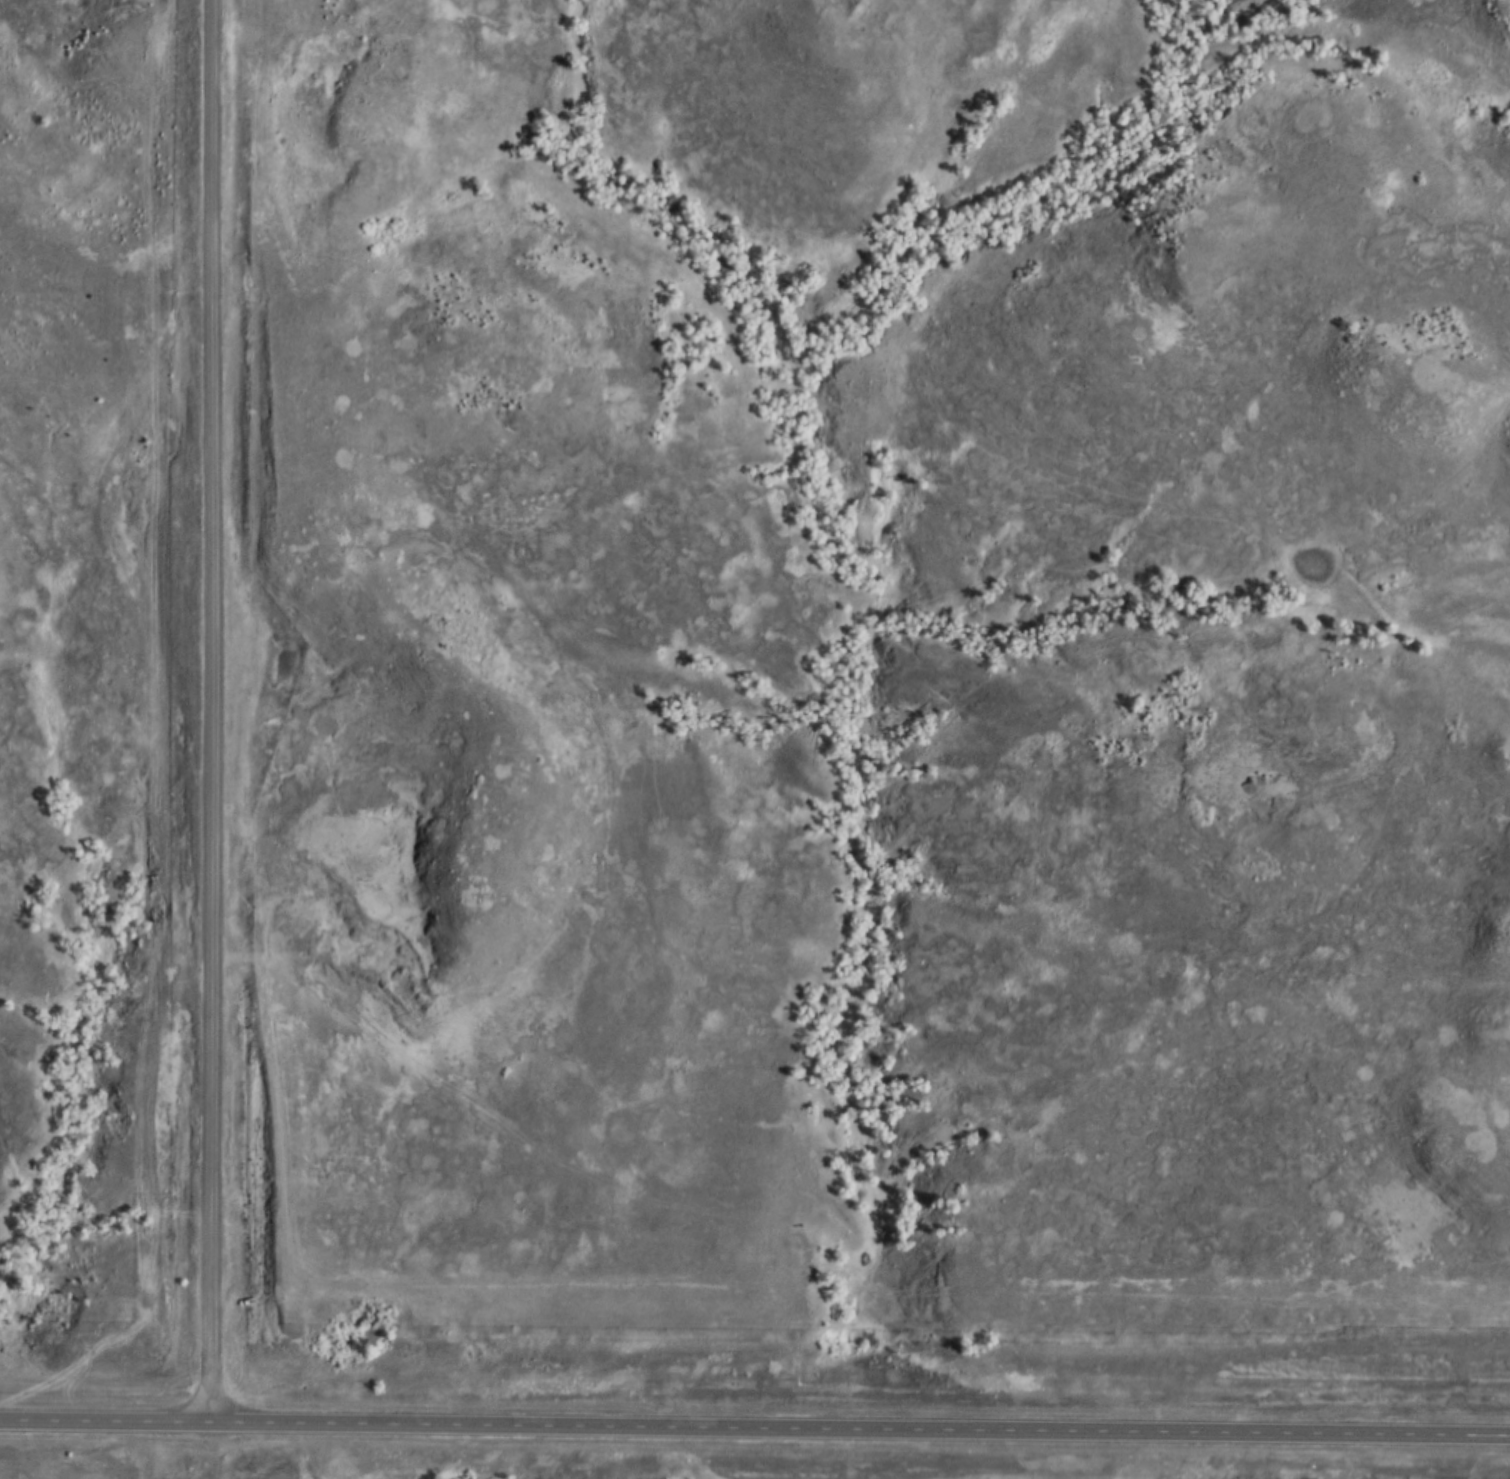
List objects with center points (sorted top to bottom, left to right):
road: (213, 711)
road: (755, 1428)
road: (207, 1454)

